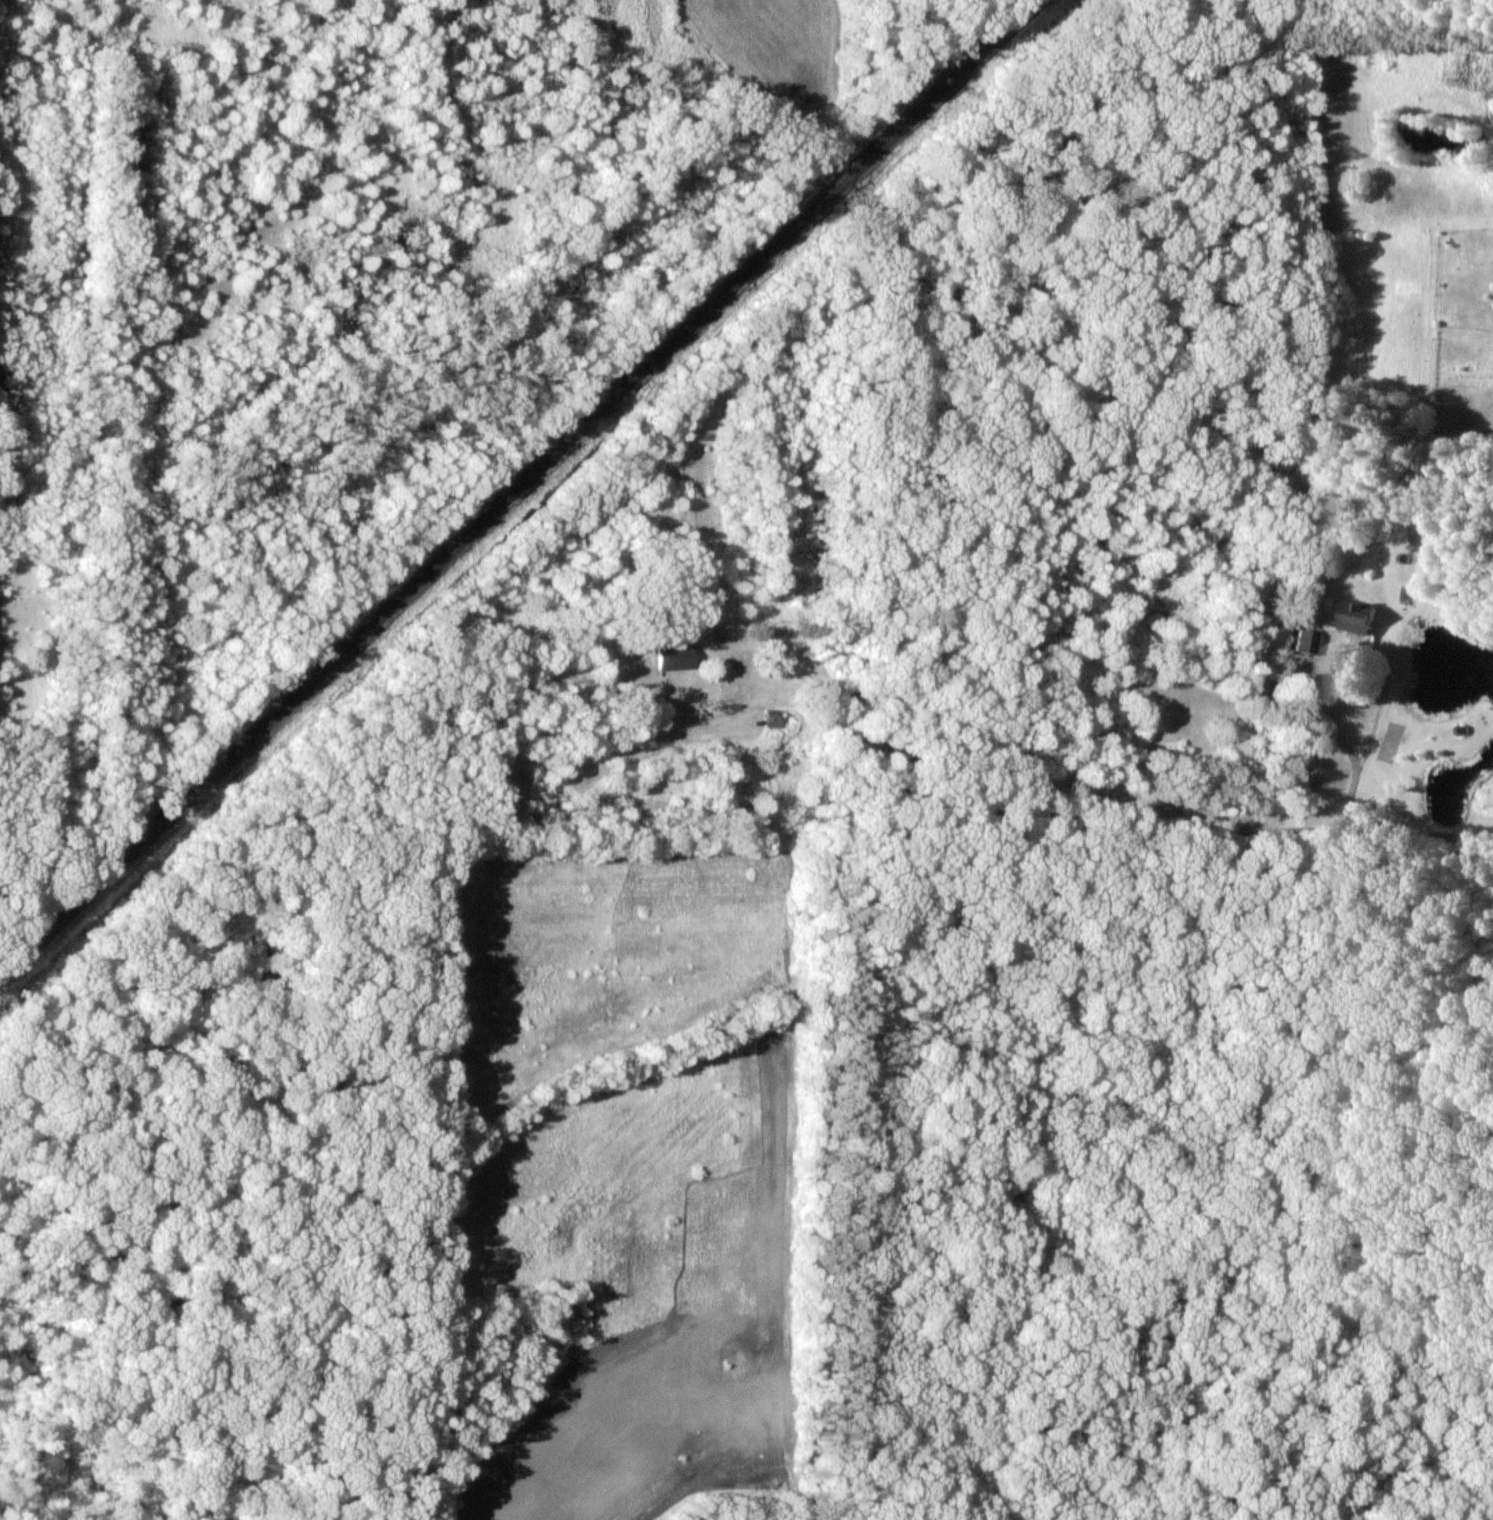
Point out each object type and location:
railway: (522, 498)
building: (1357, 616)
building: (1307, 641)
road: (1350, 641)
building: (675, 656)
building: (773, 717)
road: (1383, 829)

